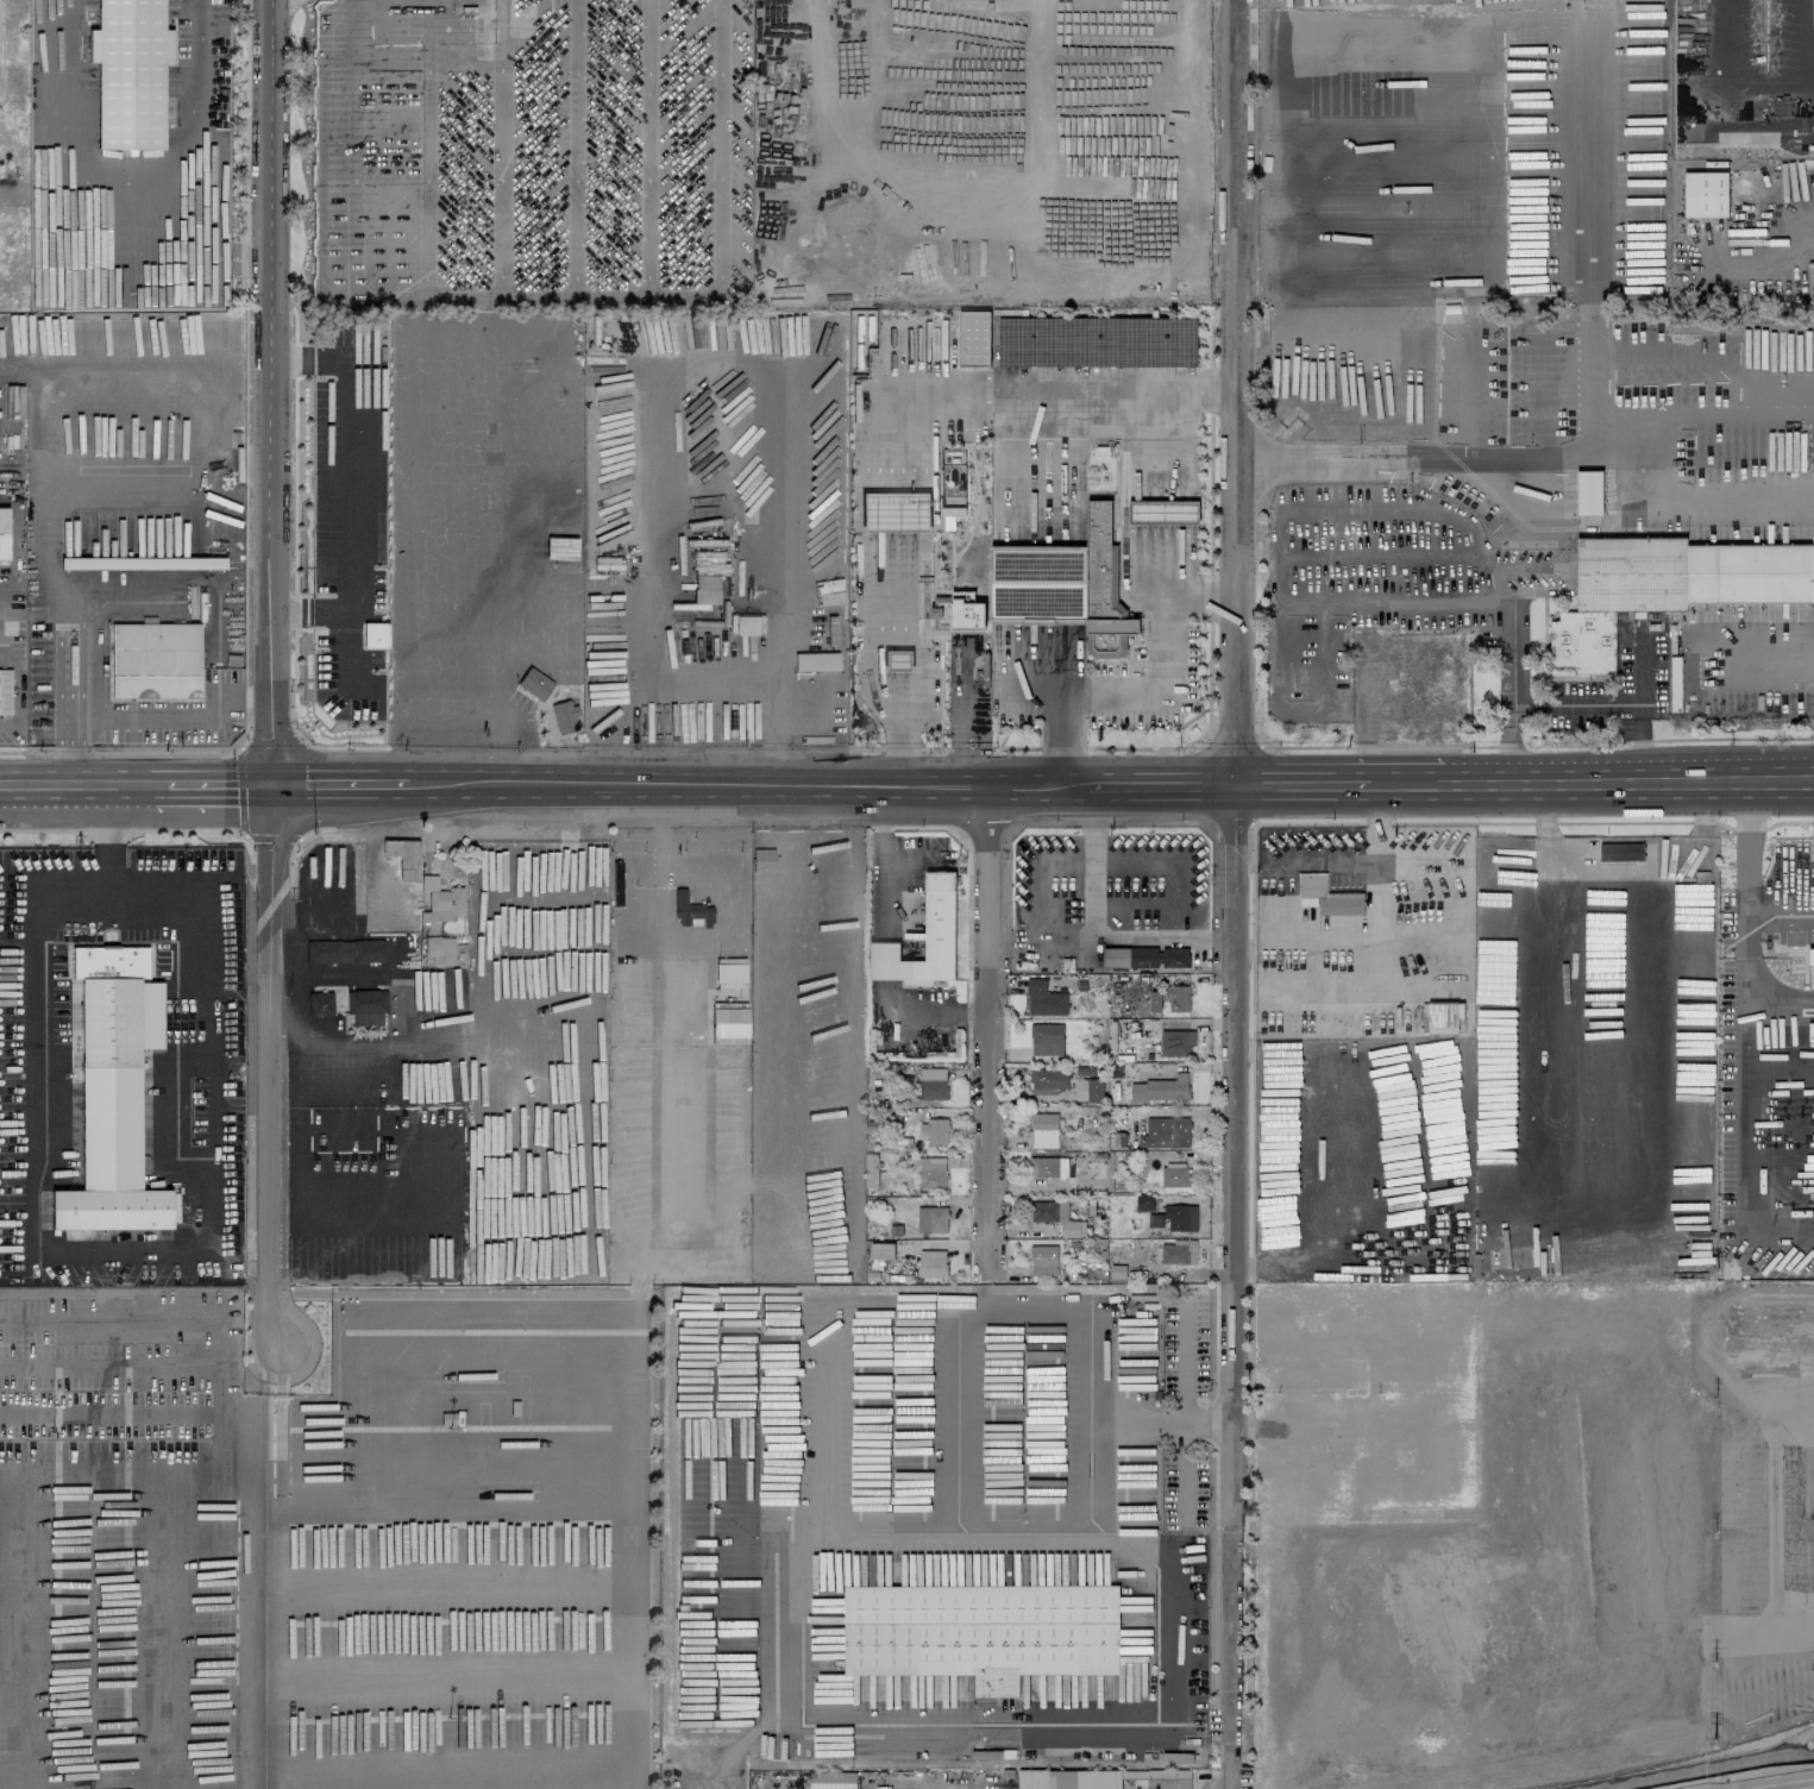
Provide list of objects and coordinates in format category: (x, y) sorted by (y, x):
building: (1813, 11)
road: (1525, 17)
building: (1054, 55)
building: (127, 71)
road: (740, 83)
building: (1705, 194)
road: (10, 195)
road: (123, 207)
road: (1797, 228)
road: (371, 276)
building: (973, 338)
road: (720, 364)
road: (271, 394)
road: (1235, 394)
road: (1122, 402)
road: (954, 403)
road: (1370, 403)
road: (1762, 408)
road: (1653, 410)
road: (1596, 433)
road: (891, 441)
road: (1373, 451)
road: (1519, 457)
road: (1269, 459)
road: (1047, 466)
road: (1374, 467)
road: (117, 482)
road: (347, 487)
building: (1588, 492)
road: (1693, 504)
building: (893, 511)
building: (1166, 514)
road: (895, 515)
building: (2, 533)
building: (140, 563)
road: (172, 578)
building: (1068, 585)
building: (1667, 586)
road: (1042, 589)
road: (898, 598)
building: (969, 615)
building: (745, 624)
building: (372, 635)
building: (153, 660)
building: (896, 660)
road: (899, 660)
building: (815, 661)
road: (1050, 671)
road: (1760, 676)
building: (533, 683)
building: (1675, 683)
road: (1505, 689)
building: (4, 691)
road: (899, 693)
road: (1141, 693)
building: (563, 716)
road: (152, 717)
road: (501, 741)
road: (903, 753)
road: (159, 789)
road: (219, 789)
road: (339, 789)
road: (76, 790)
road: (1110, 790)
road: (1758, 831)
road: (1543, 842)
building: (1620, 852)
building: (402, 856)
building: (761, 860)
road: (375, 872)
building: (1325, 896)
building: (440, 900)
road: (182, 902)
building: (940, 906)
building: (689, 911)
road: (1771, 911)
road: (1094, 931)
road: (1375, 935)
building: (345, 950)
building: (439, 950)
building: (1145, 956)
building: (1810, 961)
building: (728, 972)
building: (1170, 998)
building: (1043, 999)
building: (319, 1003)
building: (365, 1005)
building: (728, 1022)
road: (990, 1035)
building: (1046, 1038)
building: (1175, 1042)
road: (669, 1056)
road: (269, 1071)
building: (1048, 1080)
building: (933, 1082)
building: (119, 1088)
building: (1091, 1088)
building: (1160, 1088)
building: (934, 1130)
building: (1043, 1130)
building: (1165, 1132)
road: (1769, 1135)
road: (31, 1163)
building: (1047, 1167)
building: (931, 1173)
building: (1174, 1176)
building: (1144, 1201)
building: (1056, 1217)
building: (1174, 1218)
building: (931, 1219)
building: (881, 1250)
building: (1179, 1251)
building: (1043, 1260)
building: (931, 1263)
building: (1117, 1274)
road: (1232, 1288)
building: (1319, 1289)
building: (1364, 1289)
road: (965, 1305)
building: (1336, 1308)
road: (547, 1313)
road: (187, 1318)
road: (1337, 1347)
road: (108, 1364)
building: (1416, 1371)
building: (1287, 1373)
building: (1335, 1376)
building: (1355, 1402)
building: (1287, 1408)
building: (1319, 1408)
building: (1398, 1411)
road: (1182, 1412)
road: (114, 1415)
road: (828, 1415)
road: (1330, 1430)
road: (1372, 1432)
road: (1289, 1445)
building: (1338, 1450)
building: (1448, 1454)
building: (1287, 1484)
building: (1318, 1486)
building: (1377, 1489)
building: (981, 1632)
road: (777, 1661)
building: (1103, 1778)
building: (831, 1779)
road: (17, 1782)
road: (1809, 1788)

